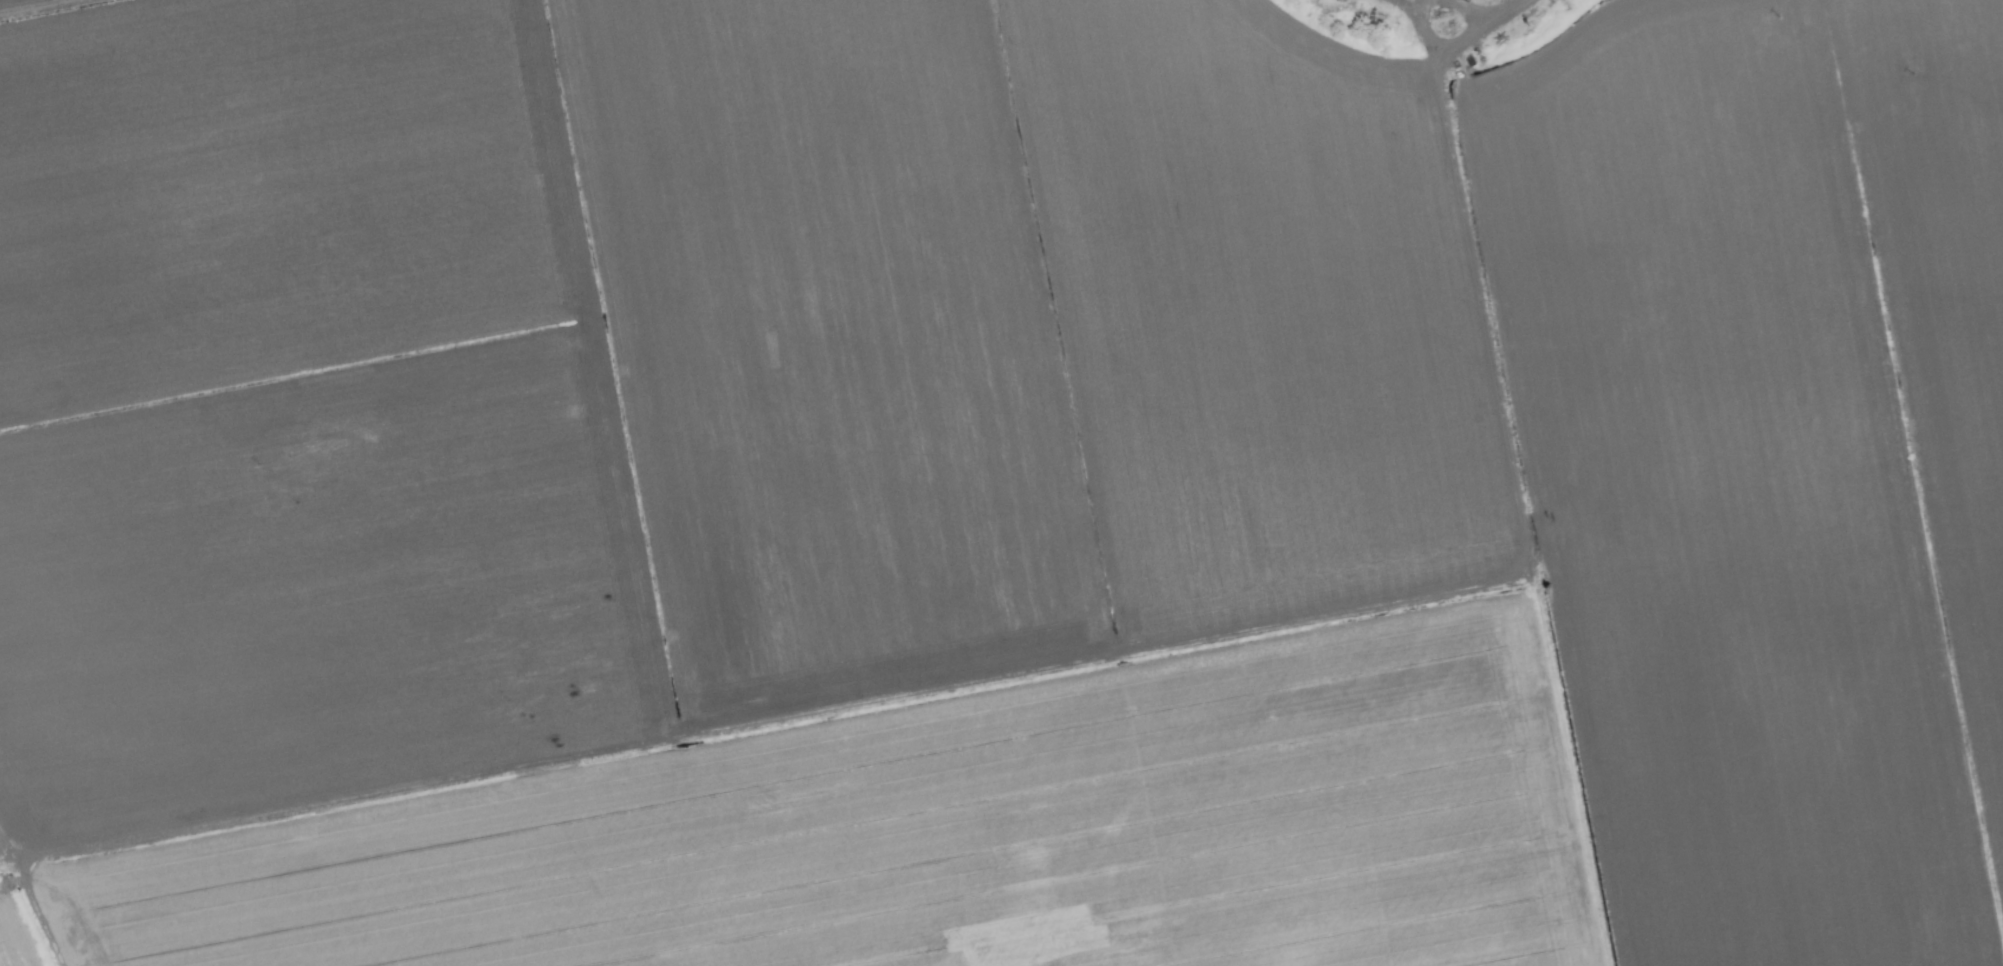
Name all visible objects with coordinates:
crop: (1001, 483)

